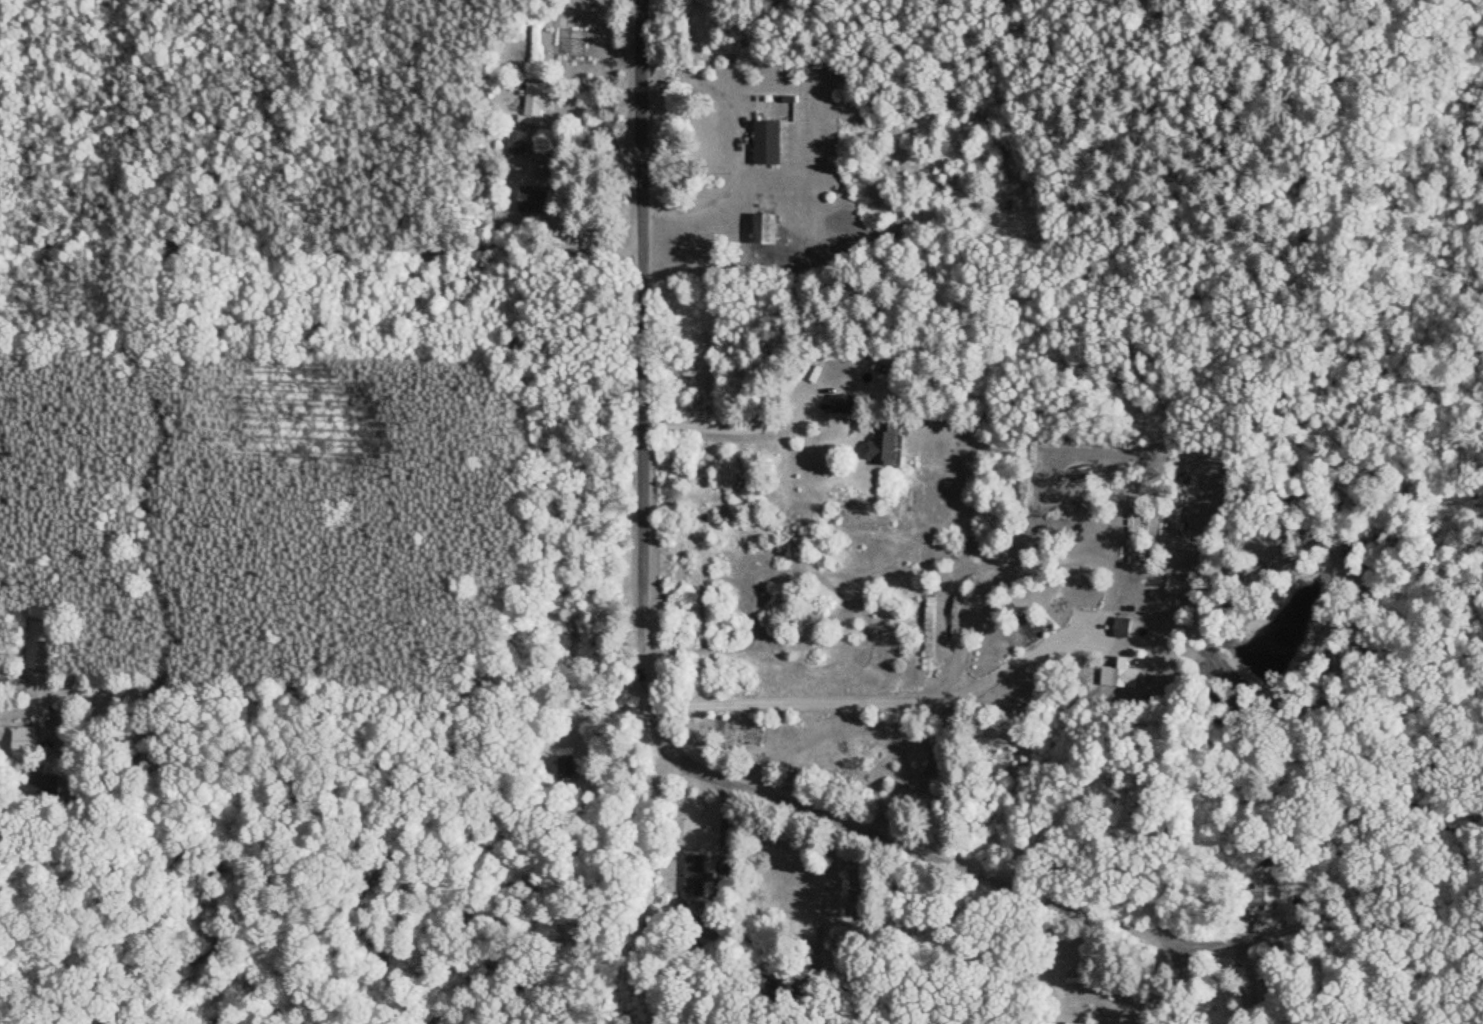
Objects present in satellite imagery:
building: (530, 104)
road: (737, 140)
building: (764, 143)
building: (532, 198)
building: (761, 228)
road: (645, 351)
road: (730, 425)
building: (880, 446)
building: (1119, 627)
road: (1029, 652)
building: (1116, 675)
road: (890, 821)
building: (692, 877)
road: (827, 882)
road: (685, 904)
road: (1050, 947)
road: (1177, 967)

